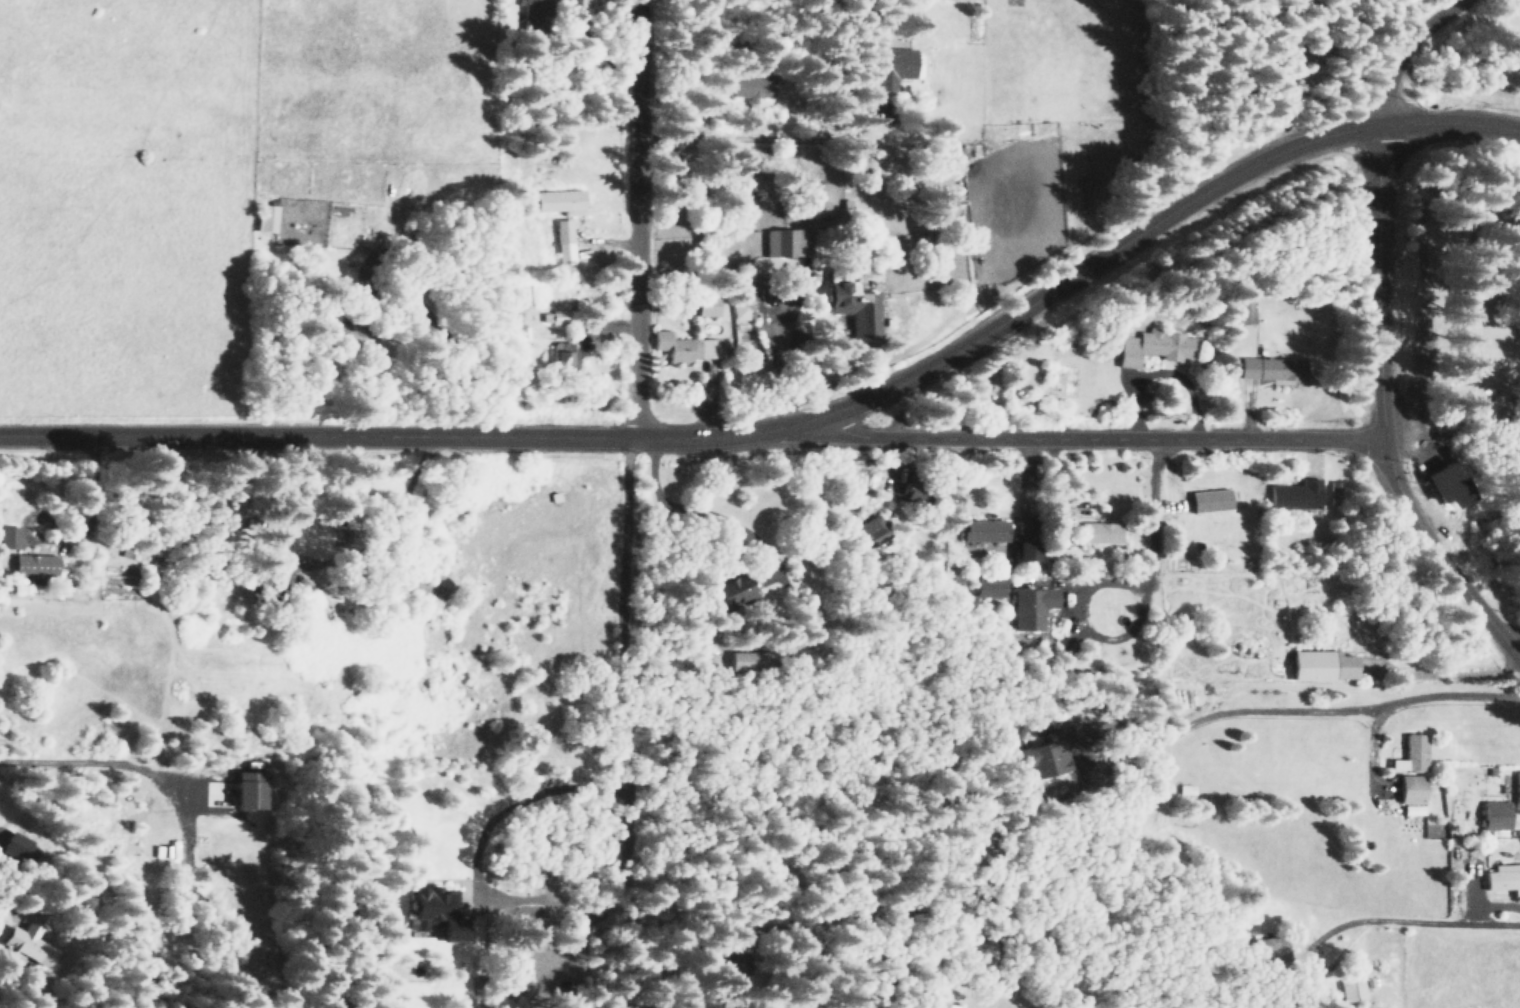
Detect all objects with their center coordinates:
building: (532, 13)
road: (1376, 48)
building: (893, 66)
building: (751, 90)
road: (727, 192)
building: (560, 201)
building: (265, 216)
road: (634, 218)
building: (564, 242)
building: (788, 242)
road: (1419, 270)
park: (1458, 296)
building: (707, 307)
building: (853, 307)
building: (1242, 307)
building: (742, 312)
building: (555, 317)
building: (685, 346)
building: (1154, 347)
building: (563, 357)
building: (1271, 368)
road: (1382, 410)
road: (799, 426)
road: (1471, 432)
road: (1401, 434)
road: (1101, 436)
building: (1447, 483)
building: (1296, 494)
building: (912, 495)
building: (1210, 500)
building: (985, 530)
building: (870, 531)
building: (1099, 532)
building: (9, 536)
building: (1025, 540)
building: (34, 565)
road: (1110, 577)
building: (989, 586)
building: (731, 590)
building: (1032, 607)
building: (751, 660)
building: (1321, 665)
building: (1412, 754)
road: (61, 758)
building: (1041, 759)
building: (1186, 789)
building: (1411, 789)
building: (246, 790)
building: (1517, 792)
building: (1412, 809)
building: (1495, 815)
building: (16, 847)
building: (1504, 878)
building: (436, 913)
building: (33, 944)
building: (1268, 948)
road: (1265, 949)
building: (1352, 989)

